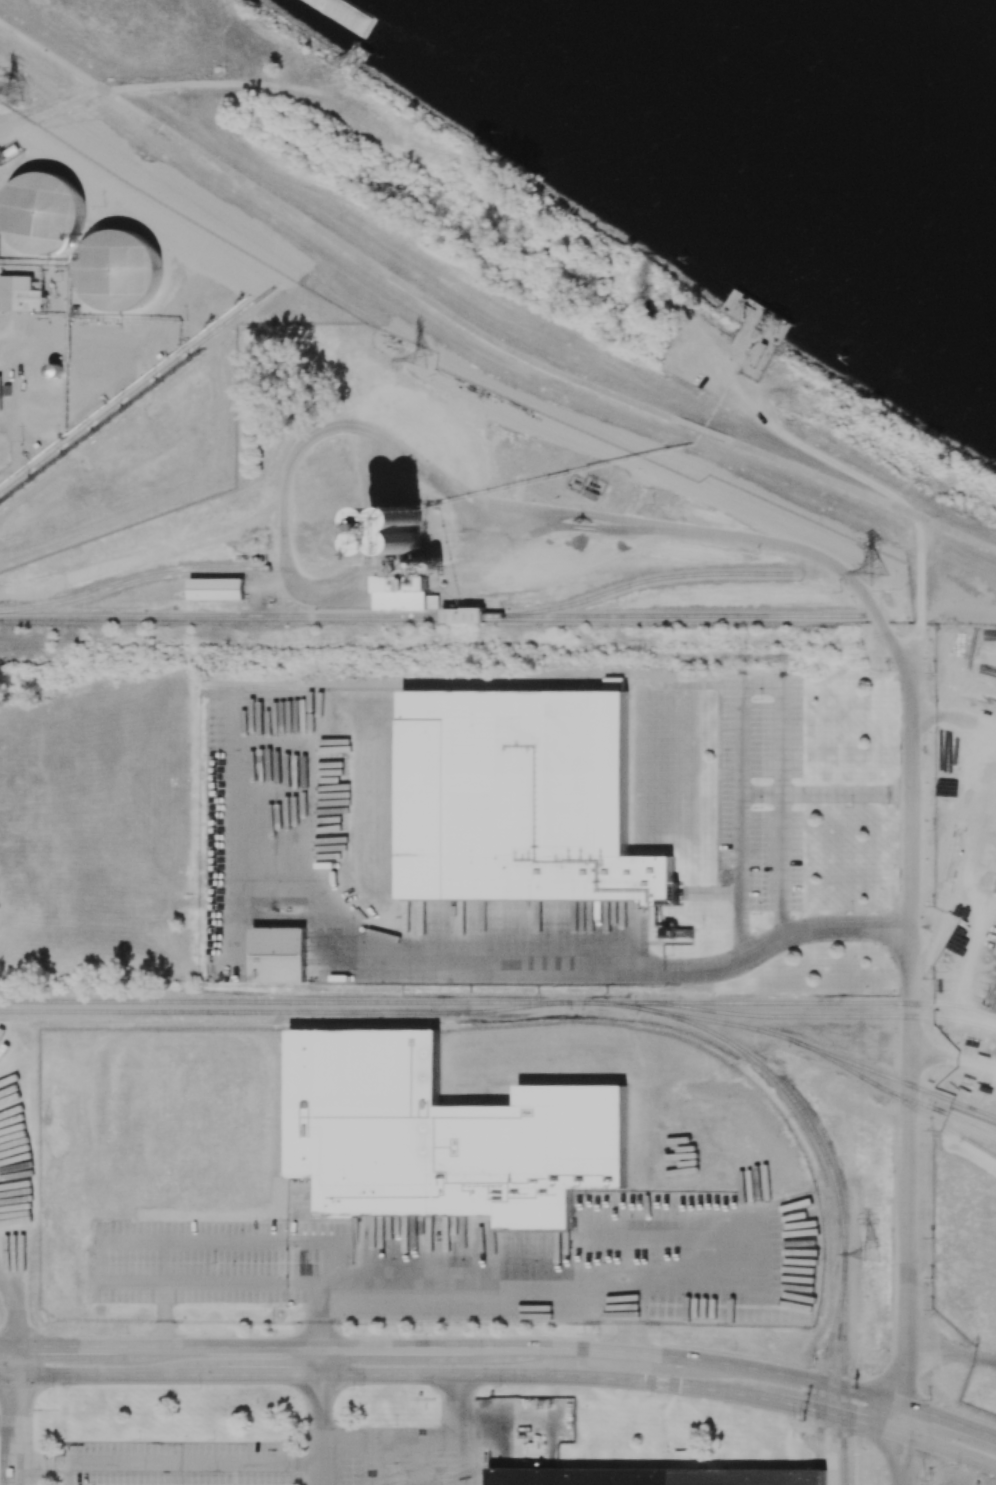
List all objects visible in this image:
road: (46, 51)
road: (104, 89)
power tower: (18, 91)
river: (838, 97)
building: (78, 236)
building: (19, 293)
road: (485, 335)
power tower: (424, 360)
building: (0, 397)
road: (441, 485)
road: (911, 512)
road: (964, 534)
power tower: (875, 573)
road: (292, 576)
railway: (131, 581)
railway: (653, 581)
road: (920, 587)
building: (215, 588)
building: (462, 614)
railway: (257, 616)
railway: (688, 616)
road: (781, 690)
road: (954, 716)
parking lot: (759, 790)
road: (812, 793)
building: (523, 800)
road: (957, 836)
road: (718, 892)
road: (743, 924)
building: (278, 953)
road: (521, 962)
railway: (266, 1002)
railway: (609, 1004)
railway: (834, 1004)
railway: (808, 1016)
road: (910, 1030)
road: (953, 1056)
railway: (837, 1059)
railway: (909, 1099)
railway: (938, 1122)
railway: (984, 1128)
building: (442, 1137)
road: (180, 1241)
power tower: (873, 1253)
parking lot: (211, 1259)
road: (243, 1281)
road: (473, 1284)
road: (11, 1312)
road: (162, 1313)
street lamp: (584, 1332)
street lamp: (419, 1334)
road: (455, 1347)
street lamp: (880, 1349)
street lamp: (735, 1350)
road: (950, 1351)
railway: (827, 1362)
road: (370, 1374)
street lamp: (500, 1388)
street lamp: (652, 1395)
road: (823, 1411)
road: (14, 1415)
road: (321, 1415)
street lamp: (792, 1418)
road: (7, 1419)
road: (950, 1422)
road: (828, 1434)
road: (416, 1437)
road: (904, 1445)
road: (950, 1450)
parking lot: (287, 1459)
road: (167, 1460)
road: (371, 1461)
road: (417, 1461)
street lamp: (959, 1467)
building: (652, 1476)

